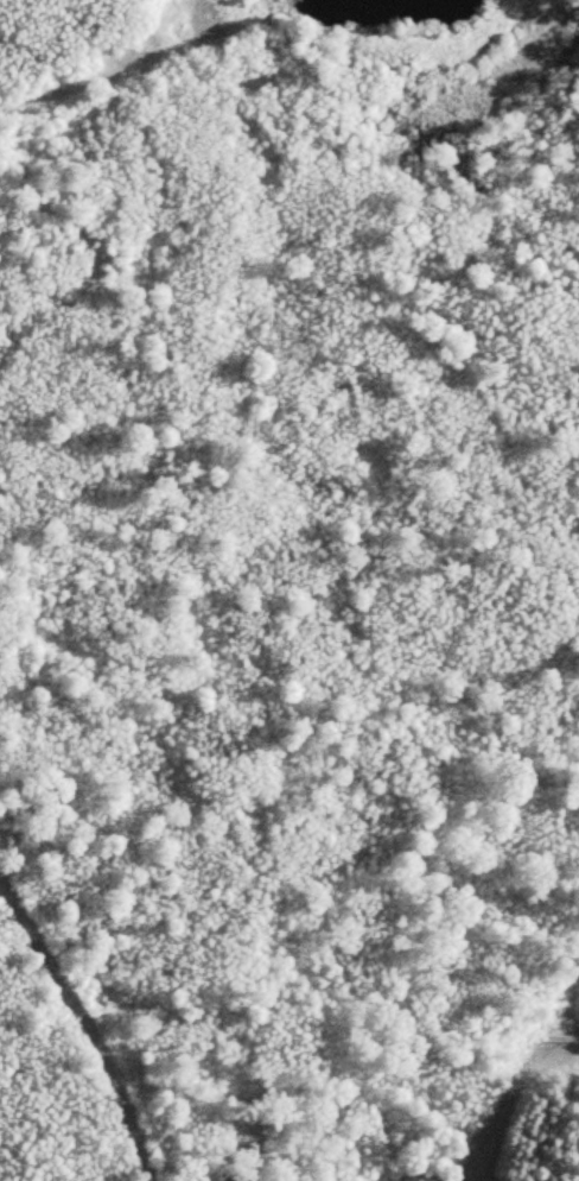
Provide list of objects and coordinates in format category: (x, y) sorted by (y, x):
road: (85, 1027)
road: (507, 1103)

